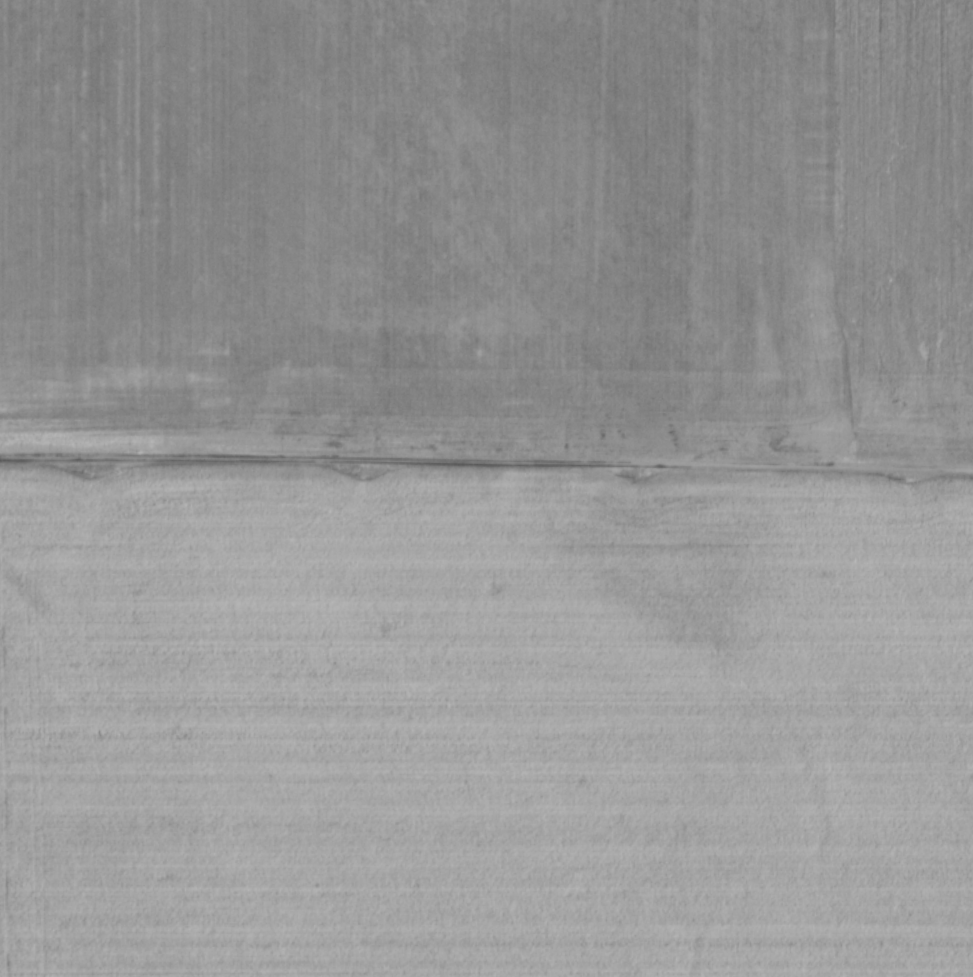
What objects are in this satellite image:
crop: (488, 221)
road: (486, 459)
crop: (485, 723)

